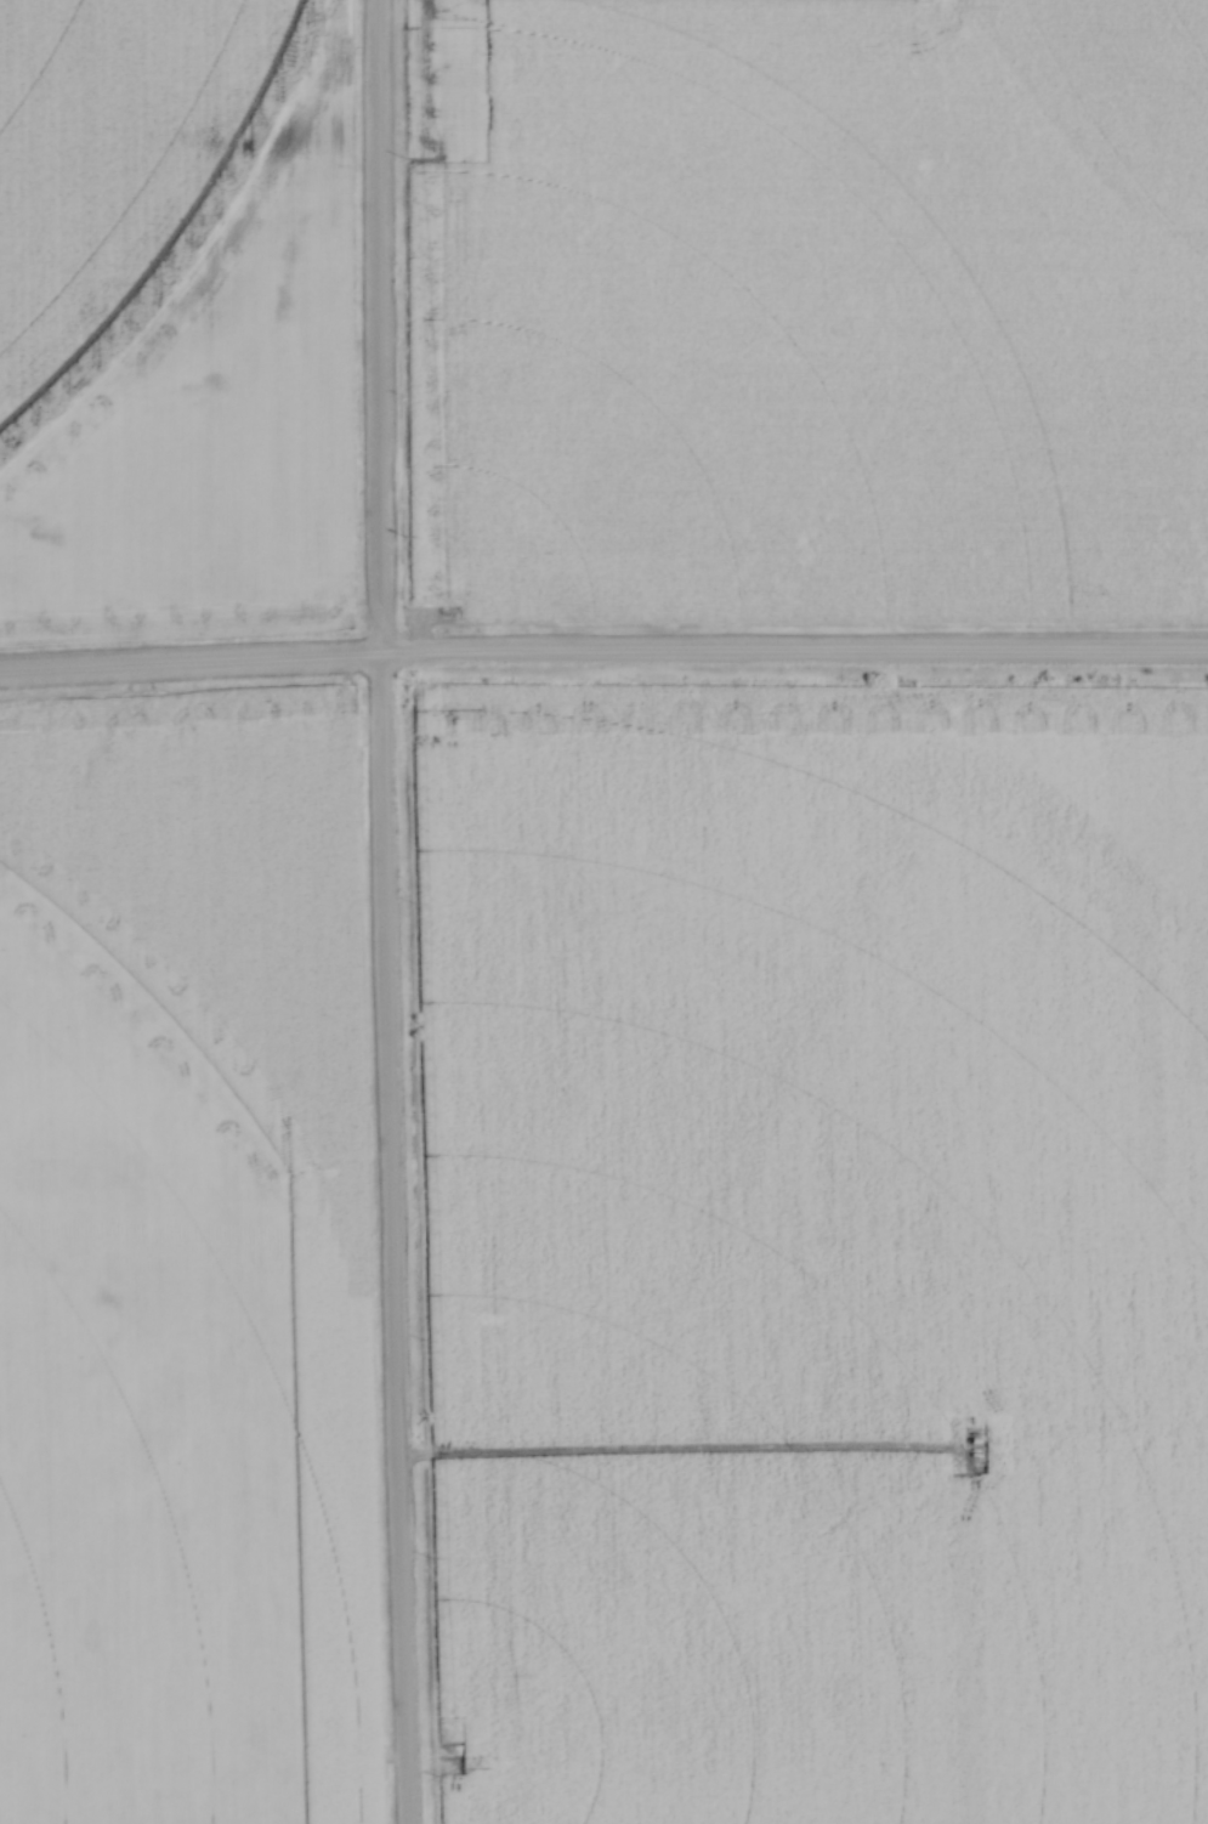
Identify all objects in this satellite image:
road: (603, 657)
road: (380, 912)
crop: (812, 1061)

